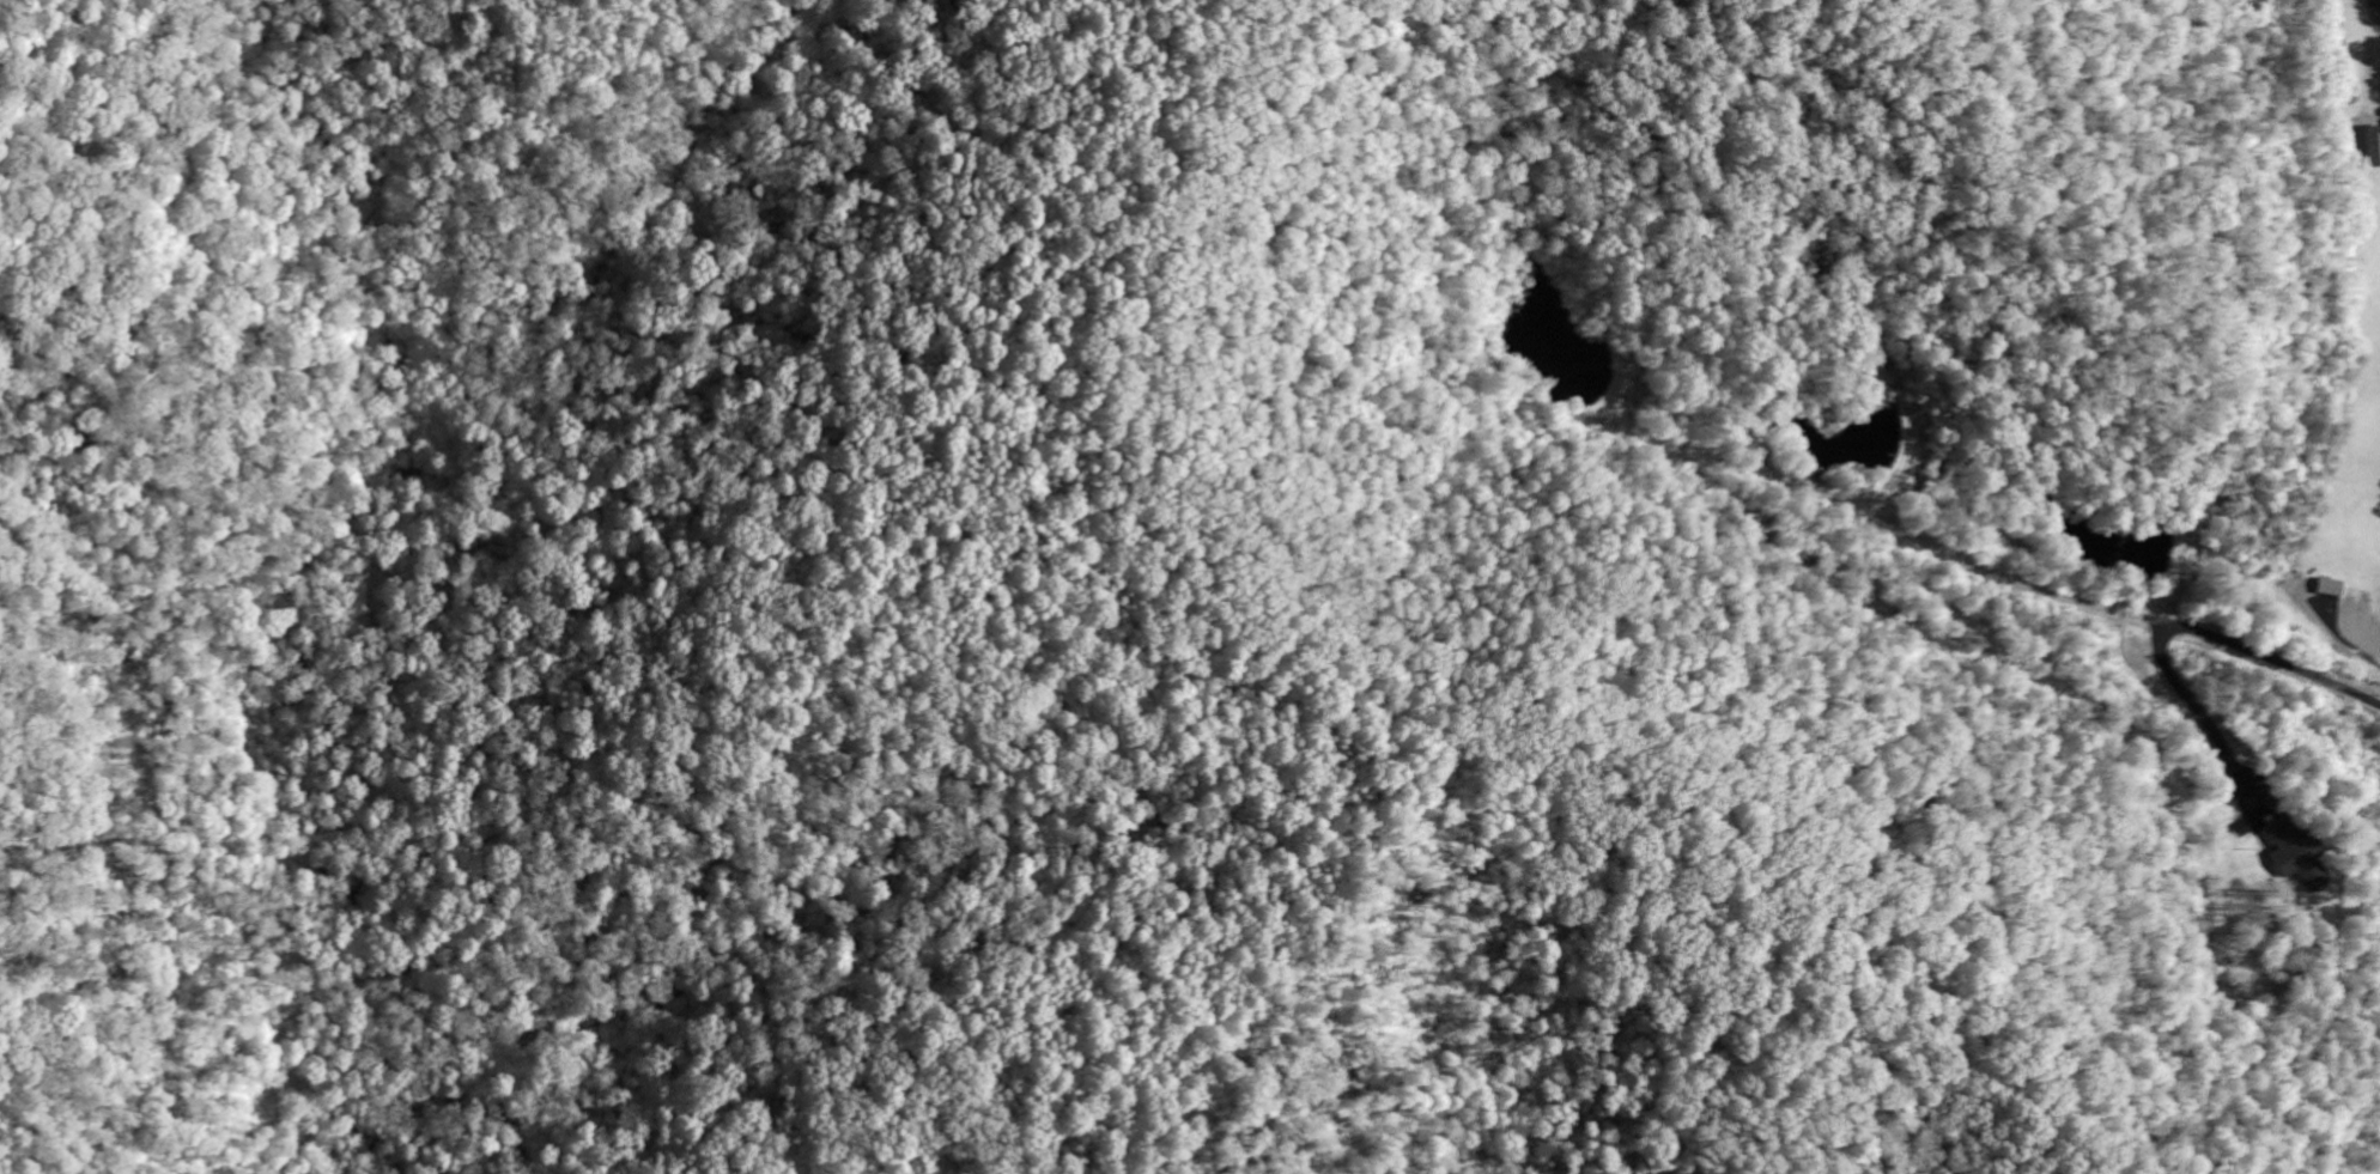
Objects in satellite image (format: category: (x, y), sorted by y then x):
building: (2330, 589)
building: (2295, 854)

